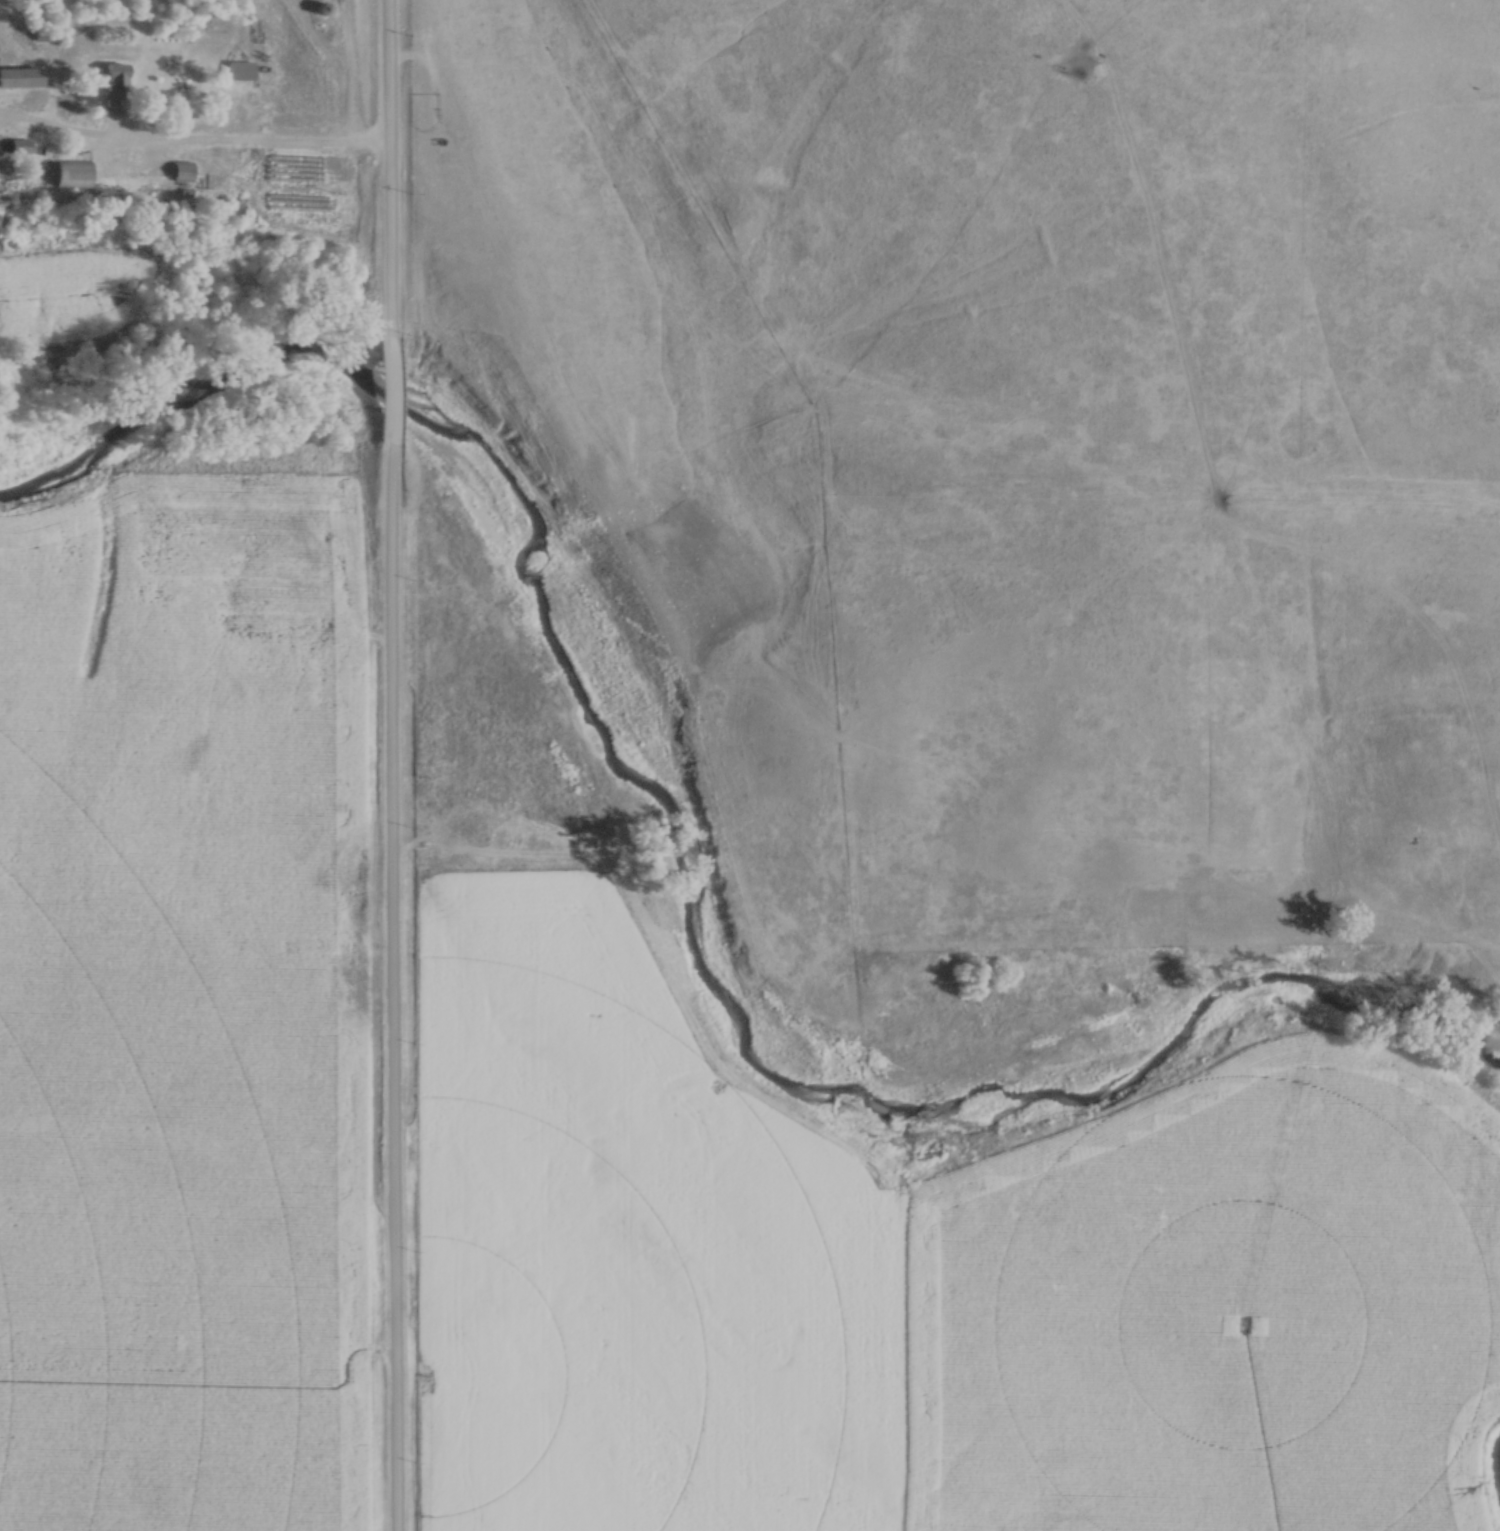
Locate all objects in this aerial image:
building: (240, 70)
building: (20, 77)
building: (115, 77)
road: (193, 146)
building: (19, 148)
building: (183, 171)
building: (71, 173)
road: (394, 765)

